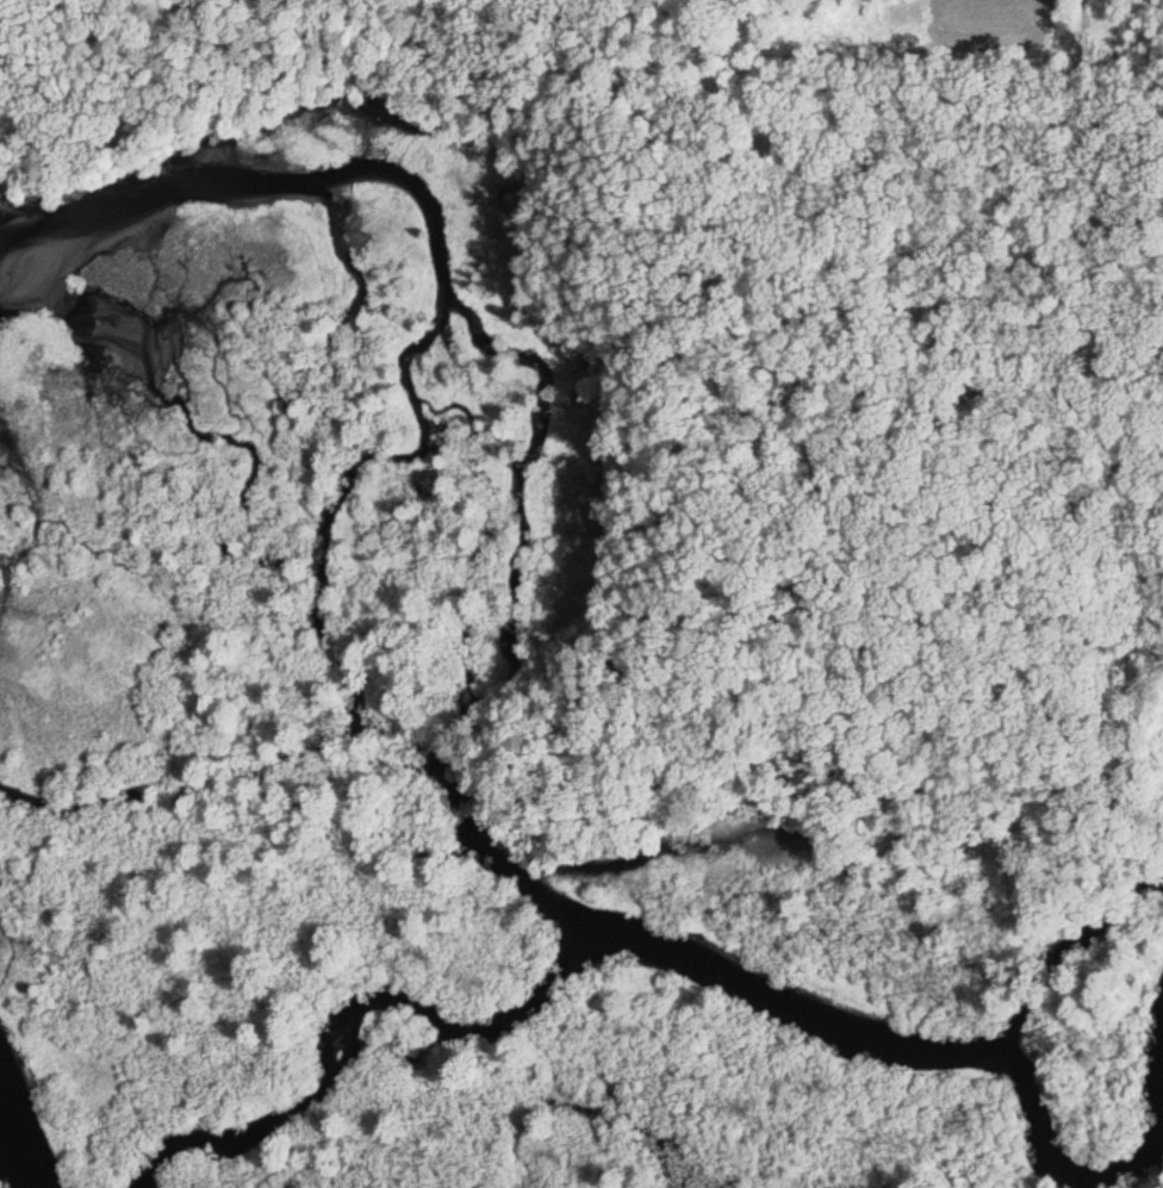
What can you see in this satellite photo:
river: (23, 1136)

